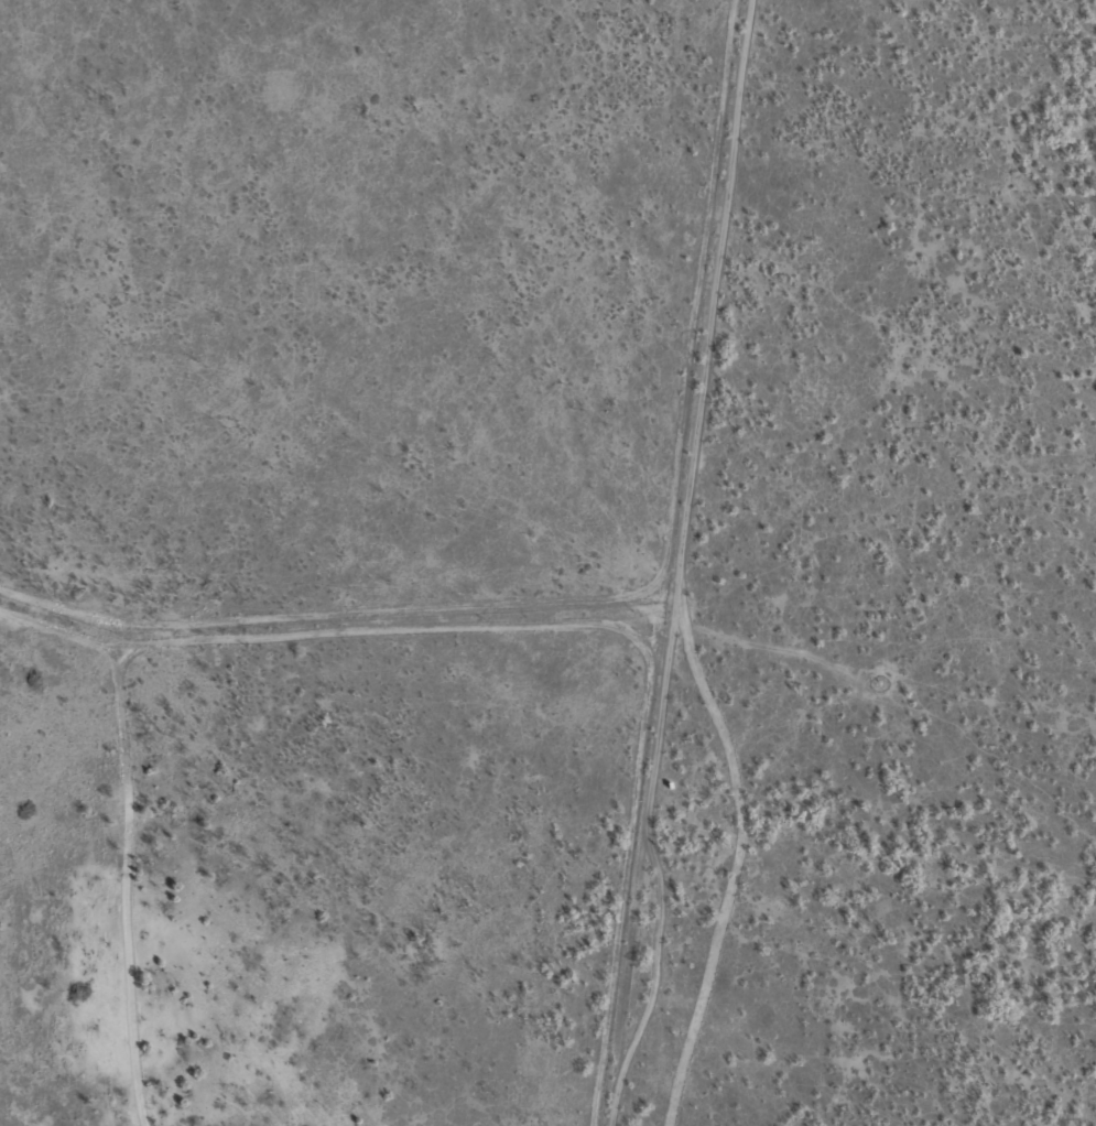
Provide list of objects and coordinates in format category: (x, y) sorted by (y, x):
road: (645, 563)

